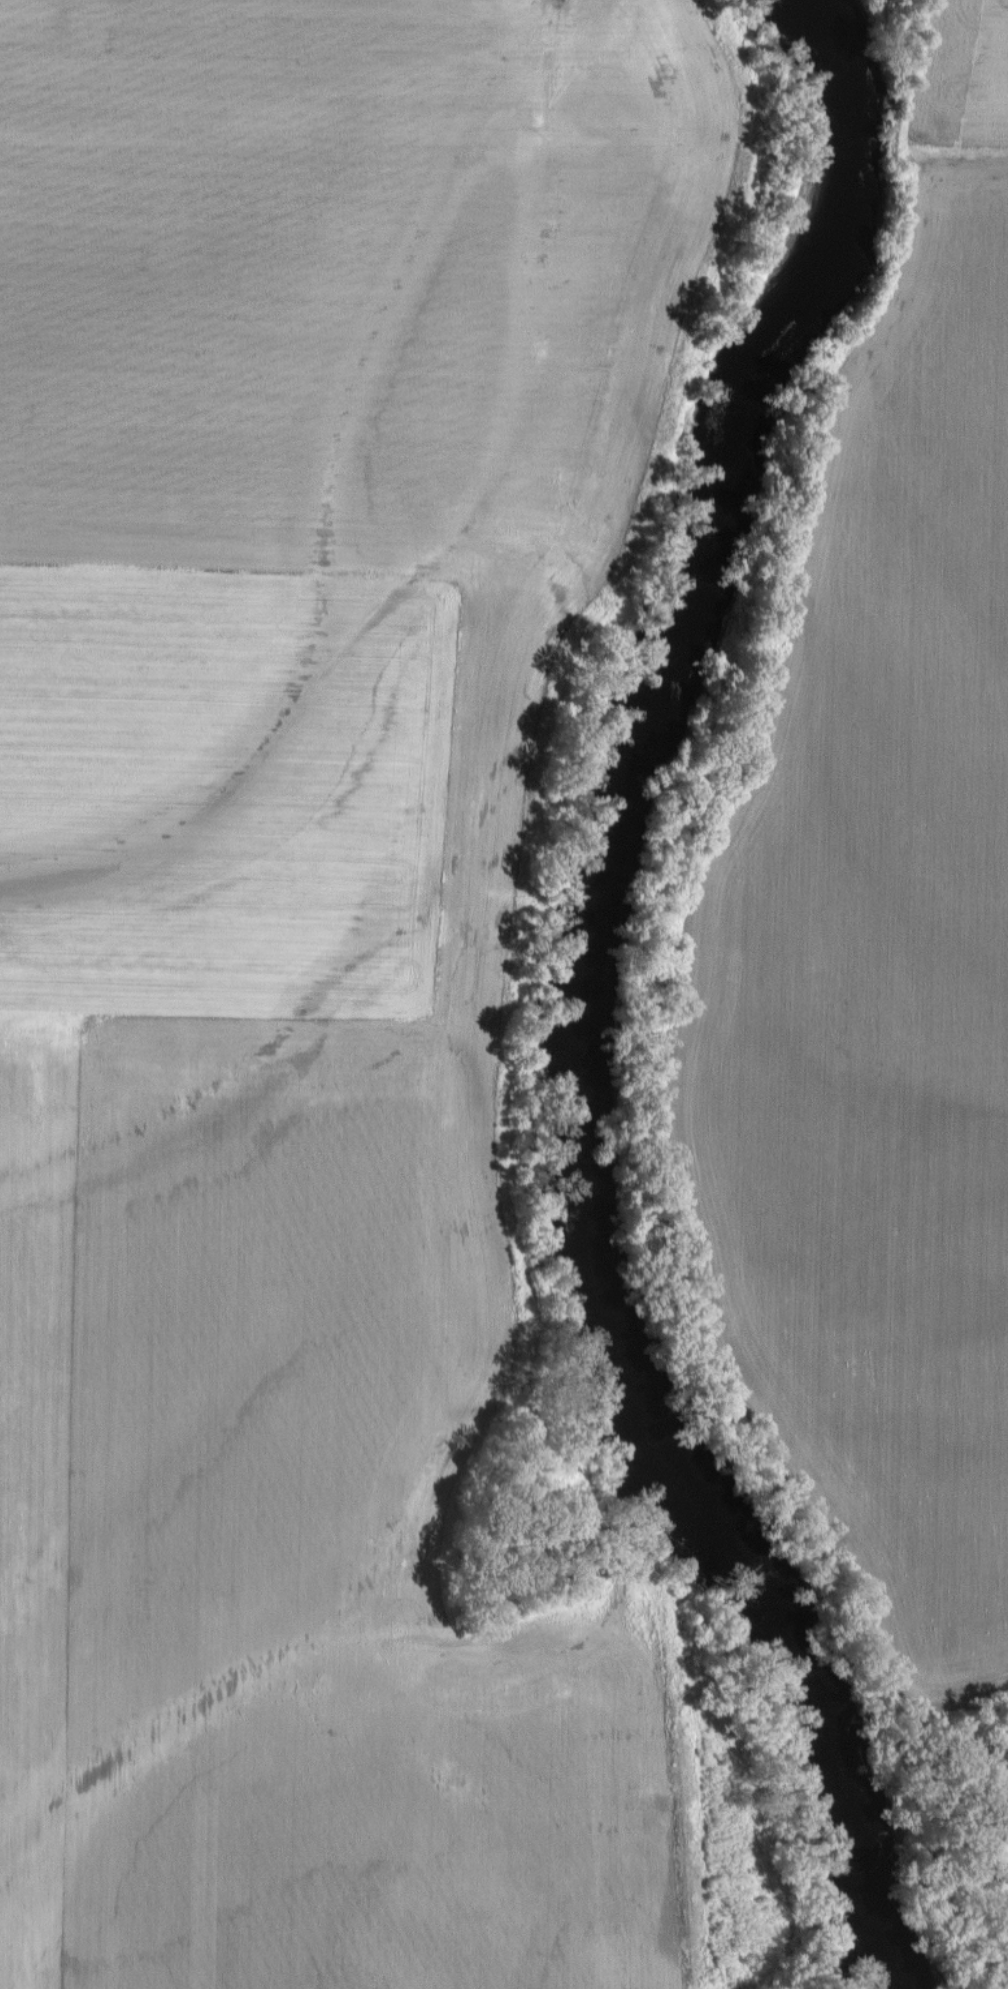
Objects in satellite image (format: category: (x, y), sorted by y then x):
river: (590, 996)

